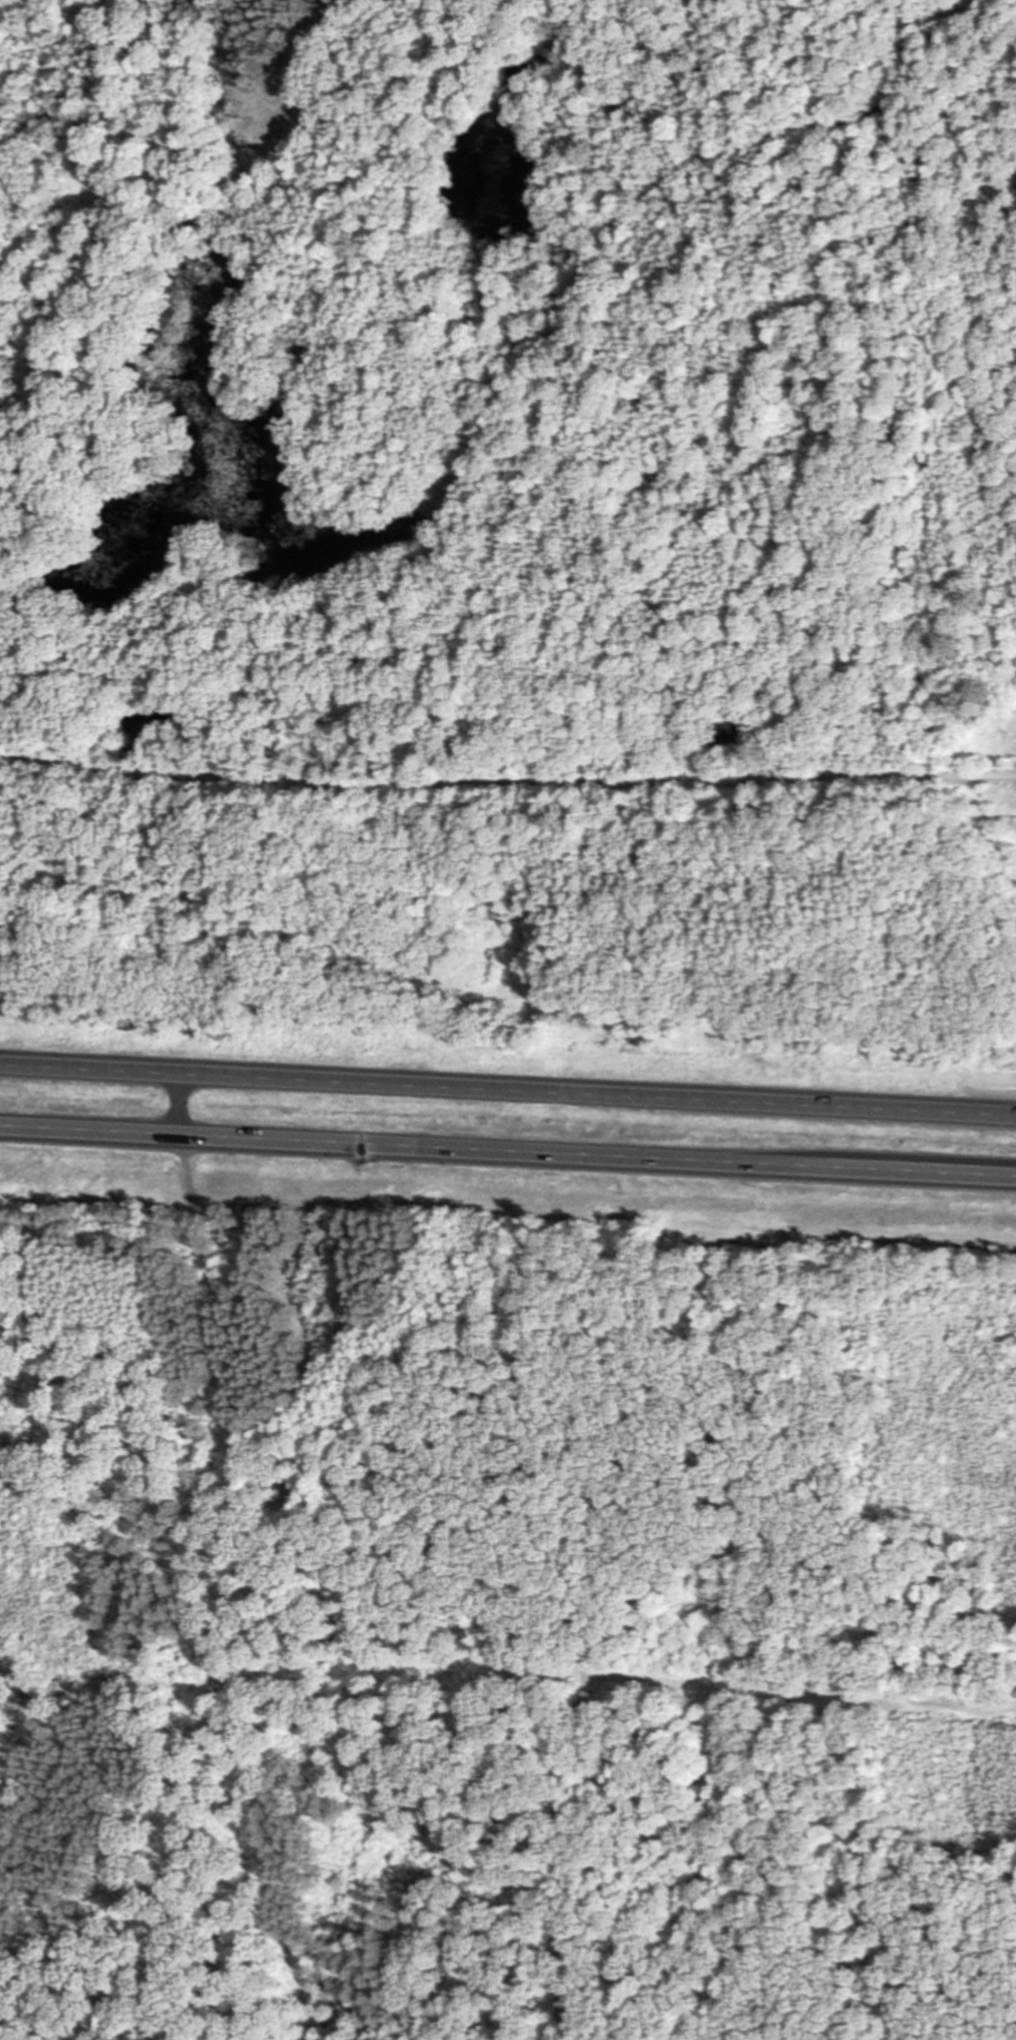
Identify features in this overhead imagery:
road: (541, 440)
road: (507, 787)
road: (508, 1090)
road: (175, 1101)
road: (507, 1146)

